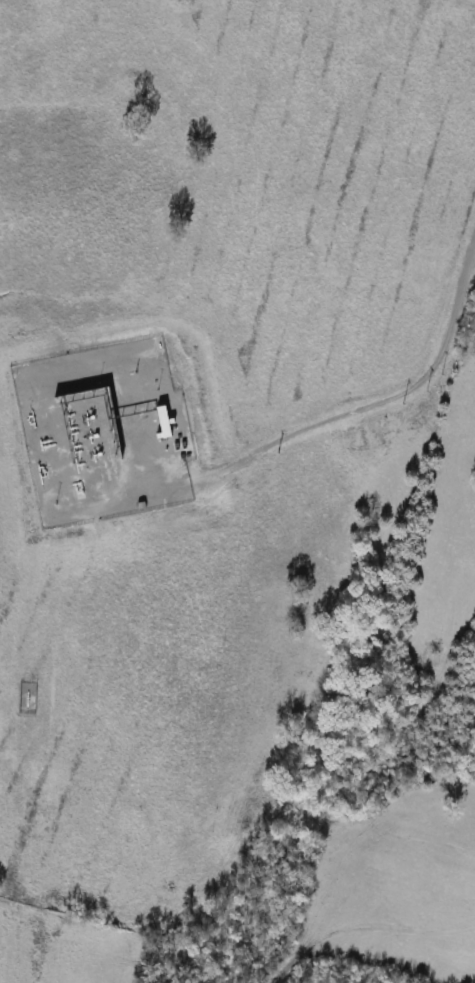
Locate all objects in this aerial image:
road: (380, 399)

